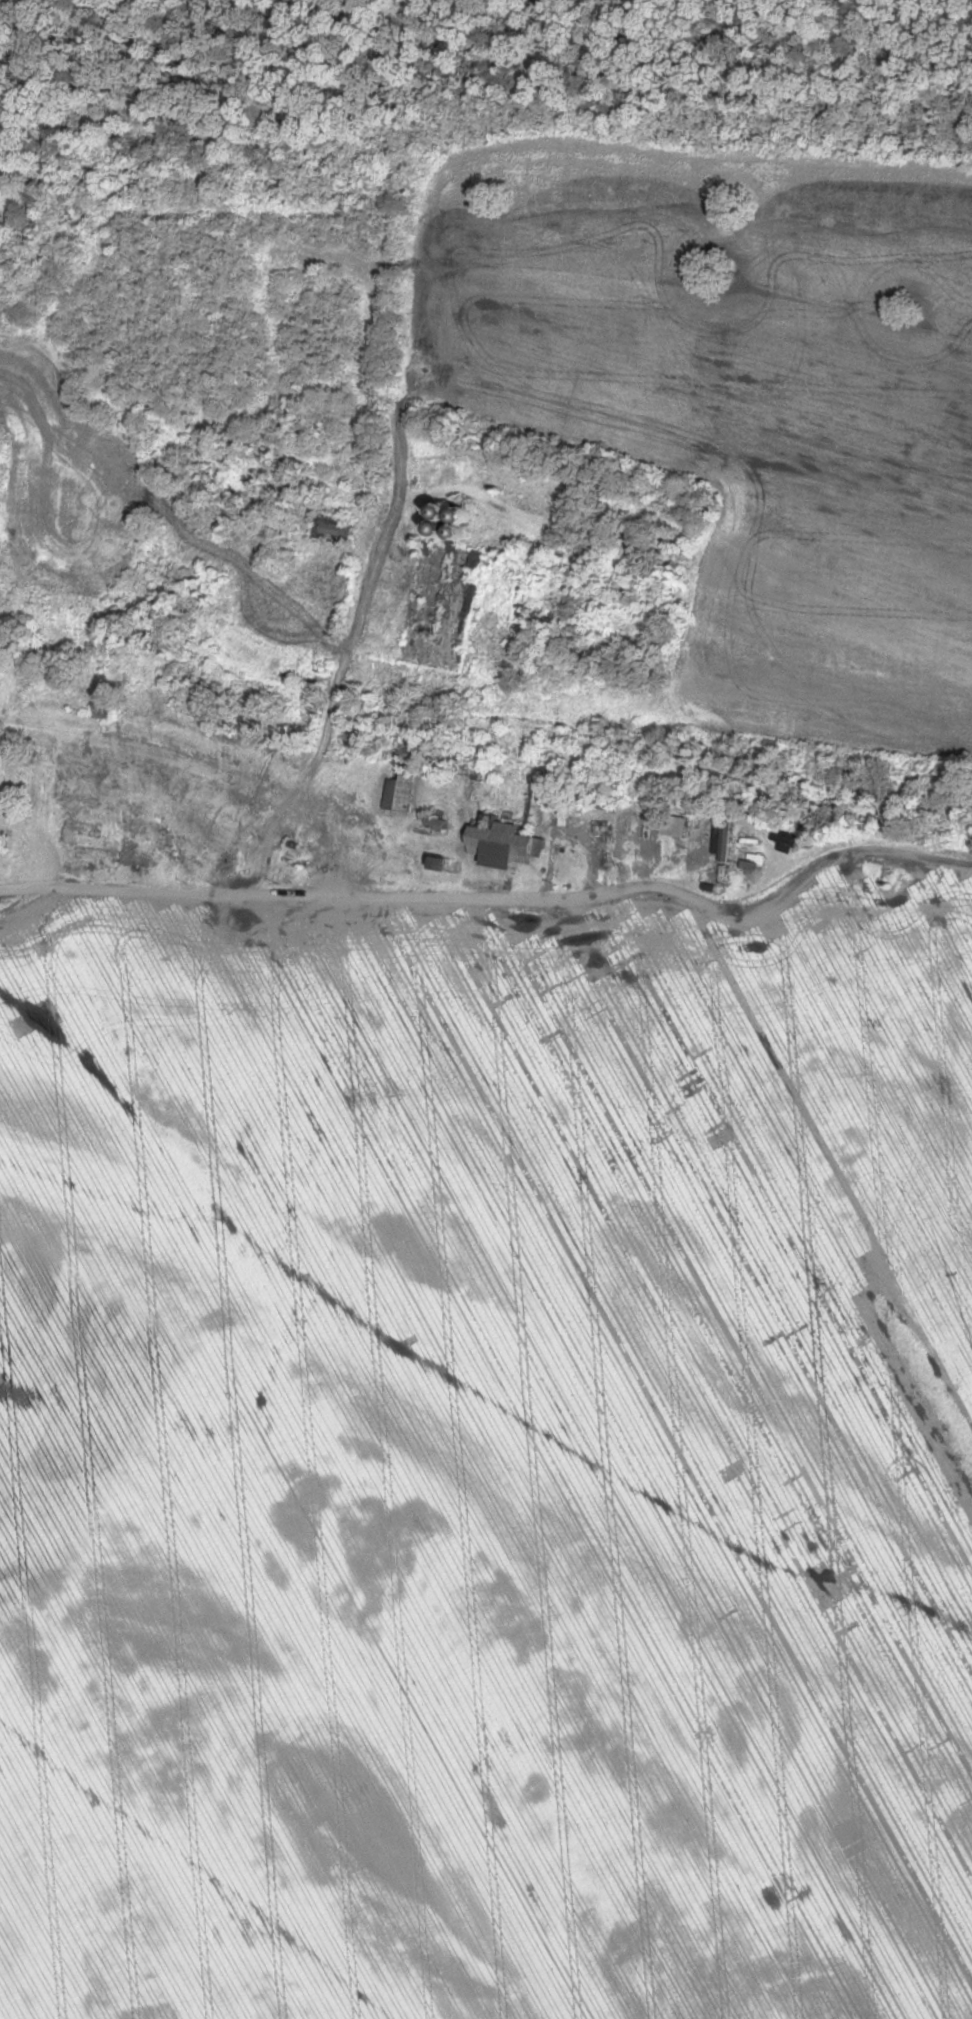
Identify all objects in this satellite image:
building: (330, 530)
building: (413, 588)
road: (345, 649)
building: (95, 711)
building: (396, 790)
building: (101, 831)
building: (679, 831)
building: (720, 839)
building: (781, 841)
building: (500, 845)
road: (845, 854)
building: (746, 864)
road: (214, 892)
road: (517, 893)

